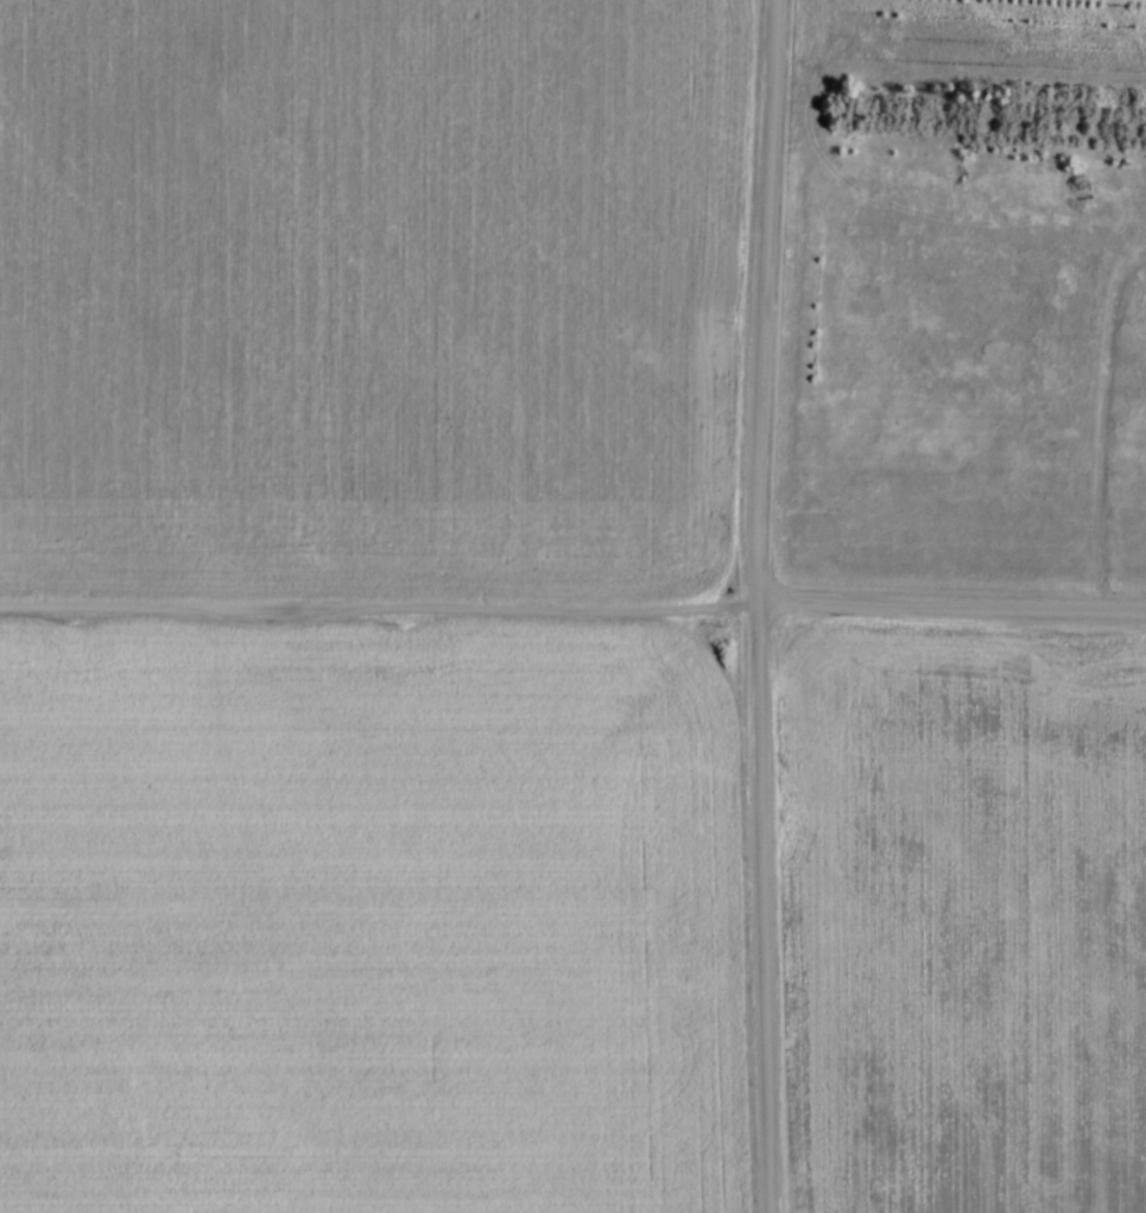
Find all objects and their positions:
crop: (368, 291)
road: (754, 605)
road: (572, 606)
crop: (361, 916)
crop: (961, 916)

